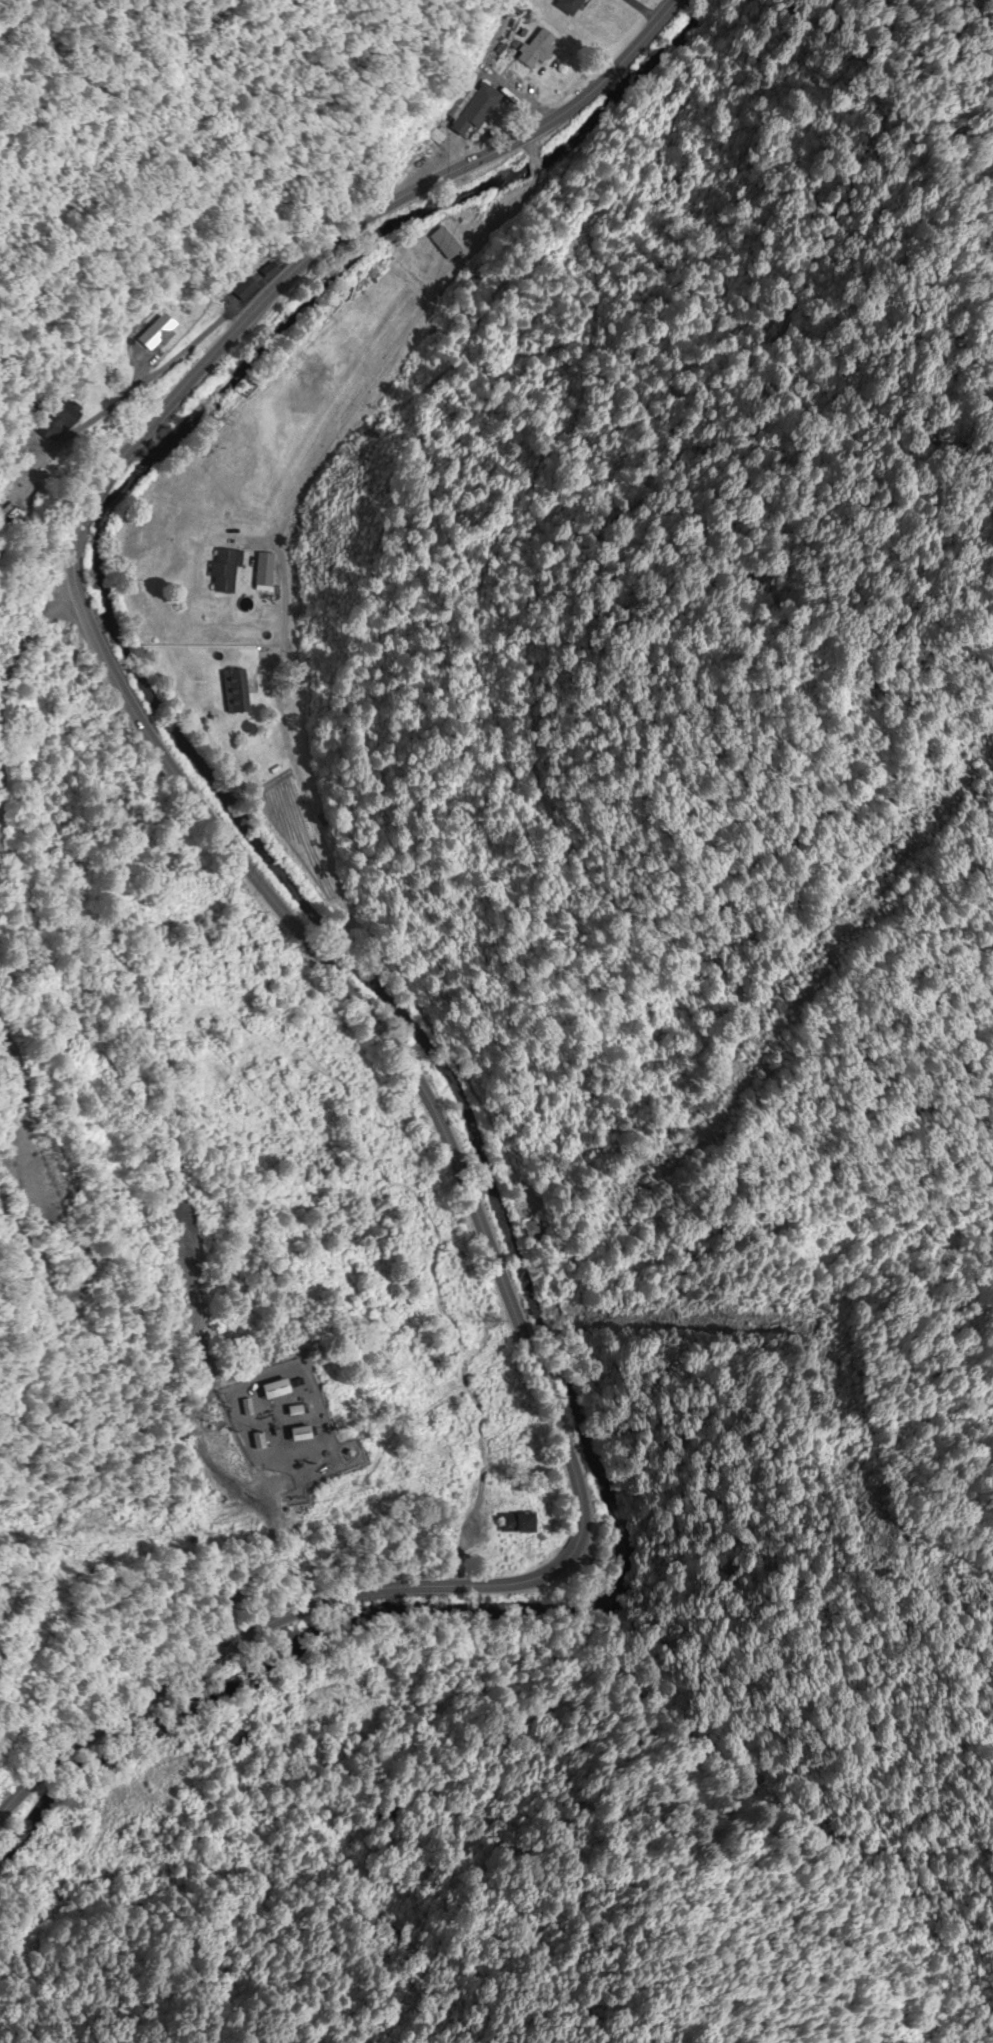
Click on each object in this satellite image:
building: (567, 6)
building: (536, 50)
building: (446, 244)
building: (267, 271)
building: (157, 334)
road: (150, 380)
building: (19, 490)
building: (227, 571)
building: (267, 572)
road: (64, 779)
road: (312, 954)
building: (530, 1232)
building: (277, 1390)
building: (302, 1434)
building: (515, 1525)

